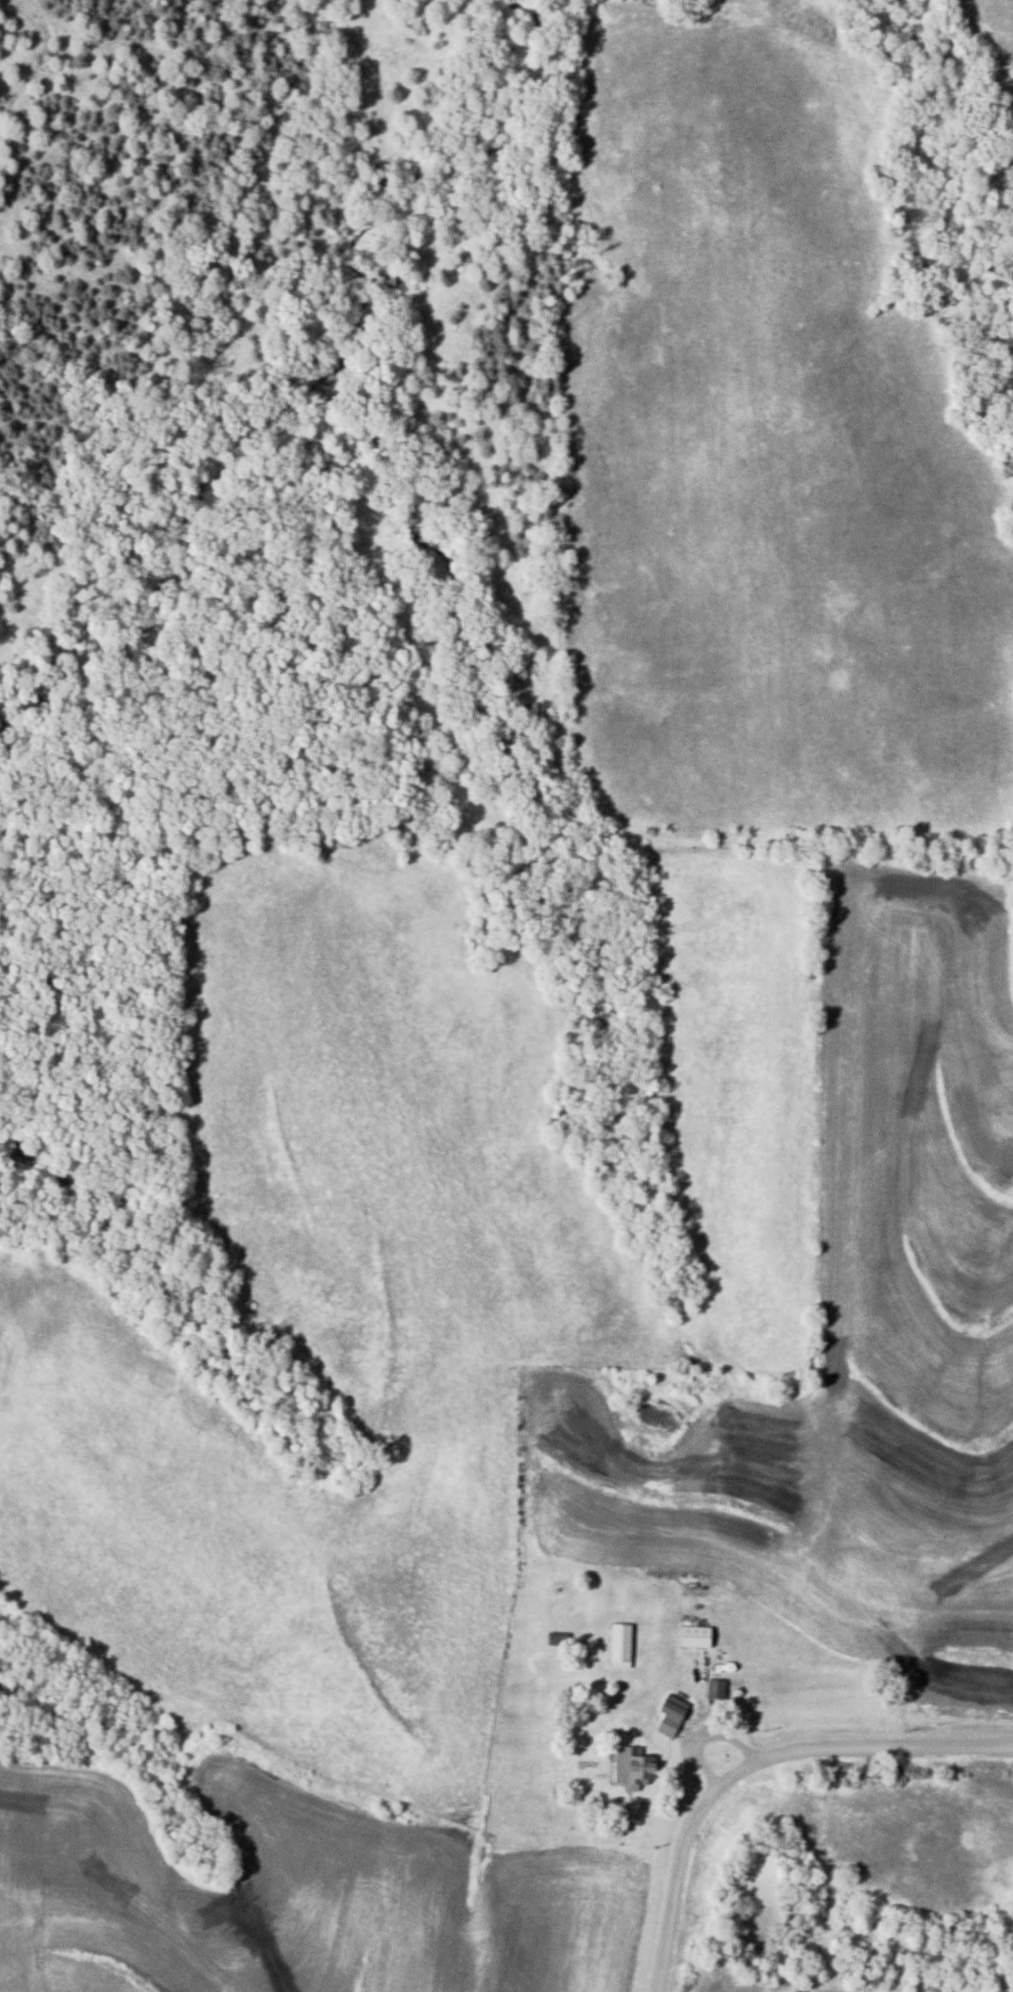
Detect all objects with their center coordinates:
road: (790, 1622)
building: (692, 1635)
building: (556, 1638)
building: (618, 1644)
building: (714, 1689)
building: (670, 1713)
road: (755, 1763)
building: (637, 1771)

